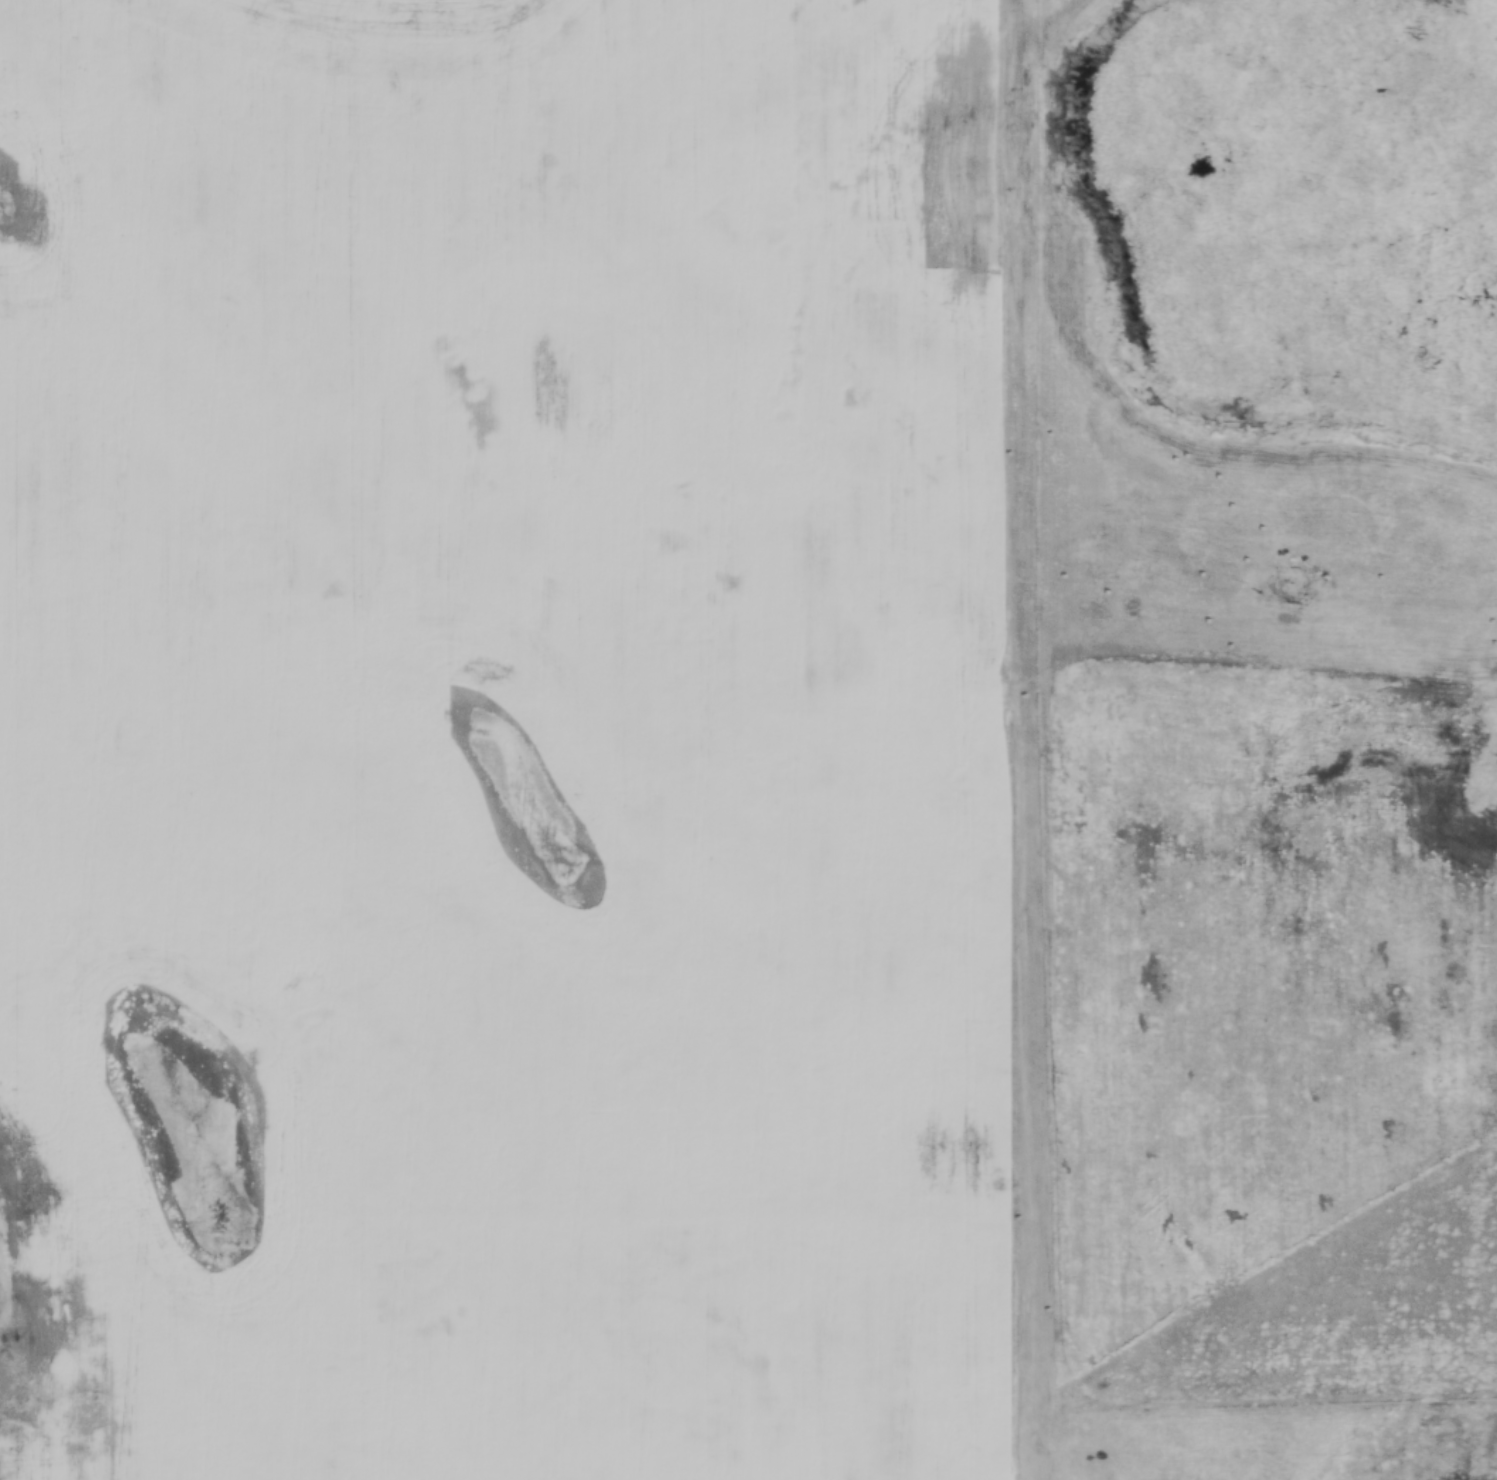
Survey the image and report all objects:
road: (1038, 739)

